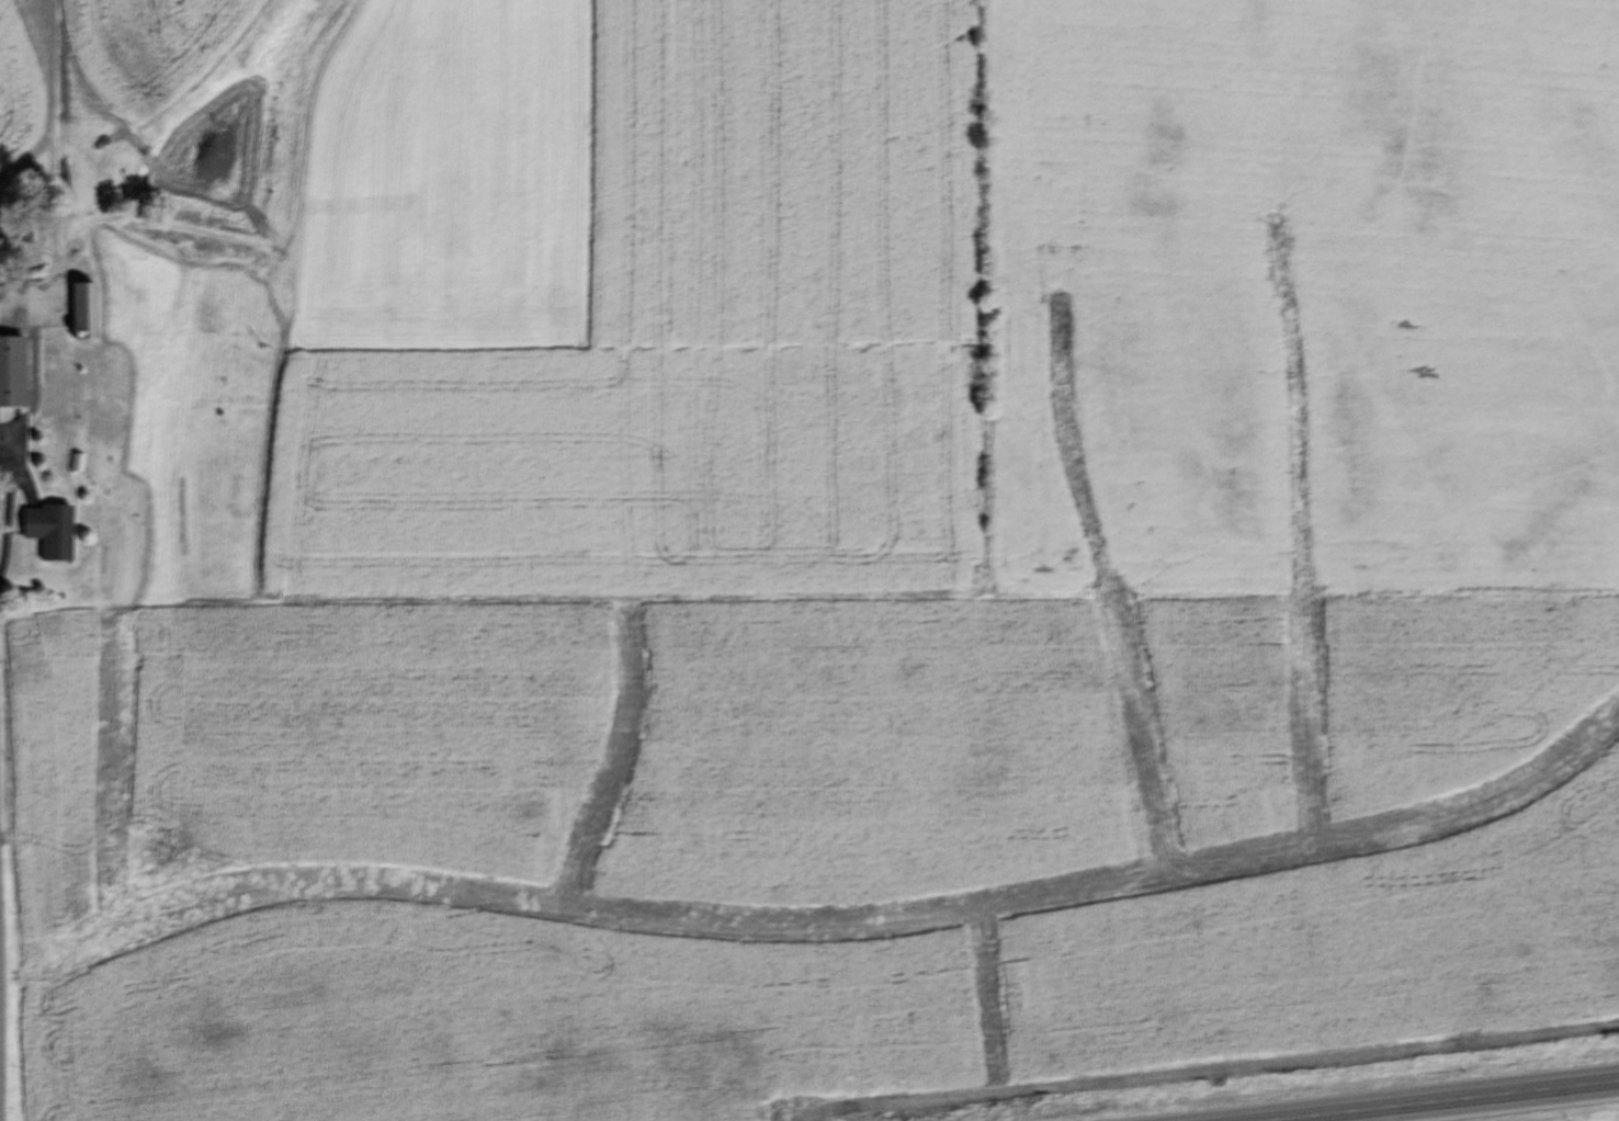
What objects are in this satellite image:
building: (23, 228)
building: (73, 310)
building: (3, 367)
building: (68, 378)
building: (38, 530)
road: (1447, 1102)

